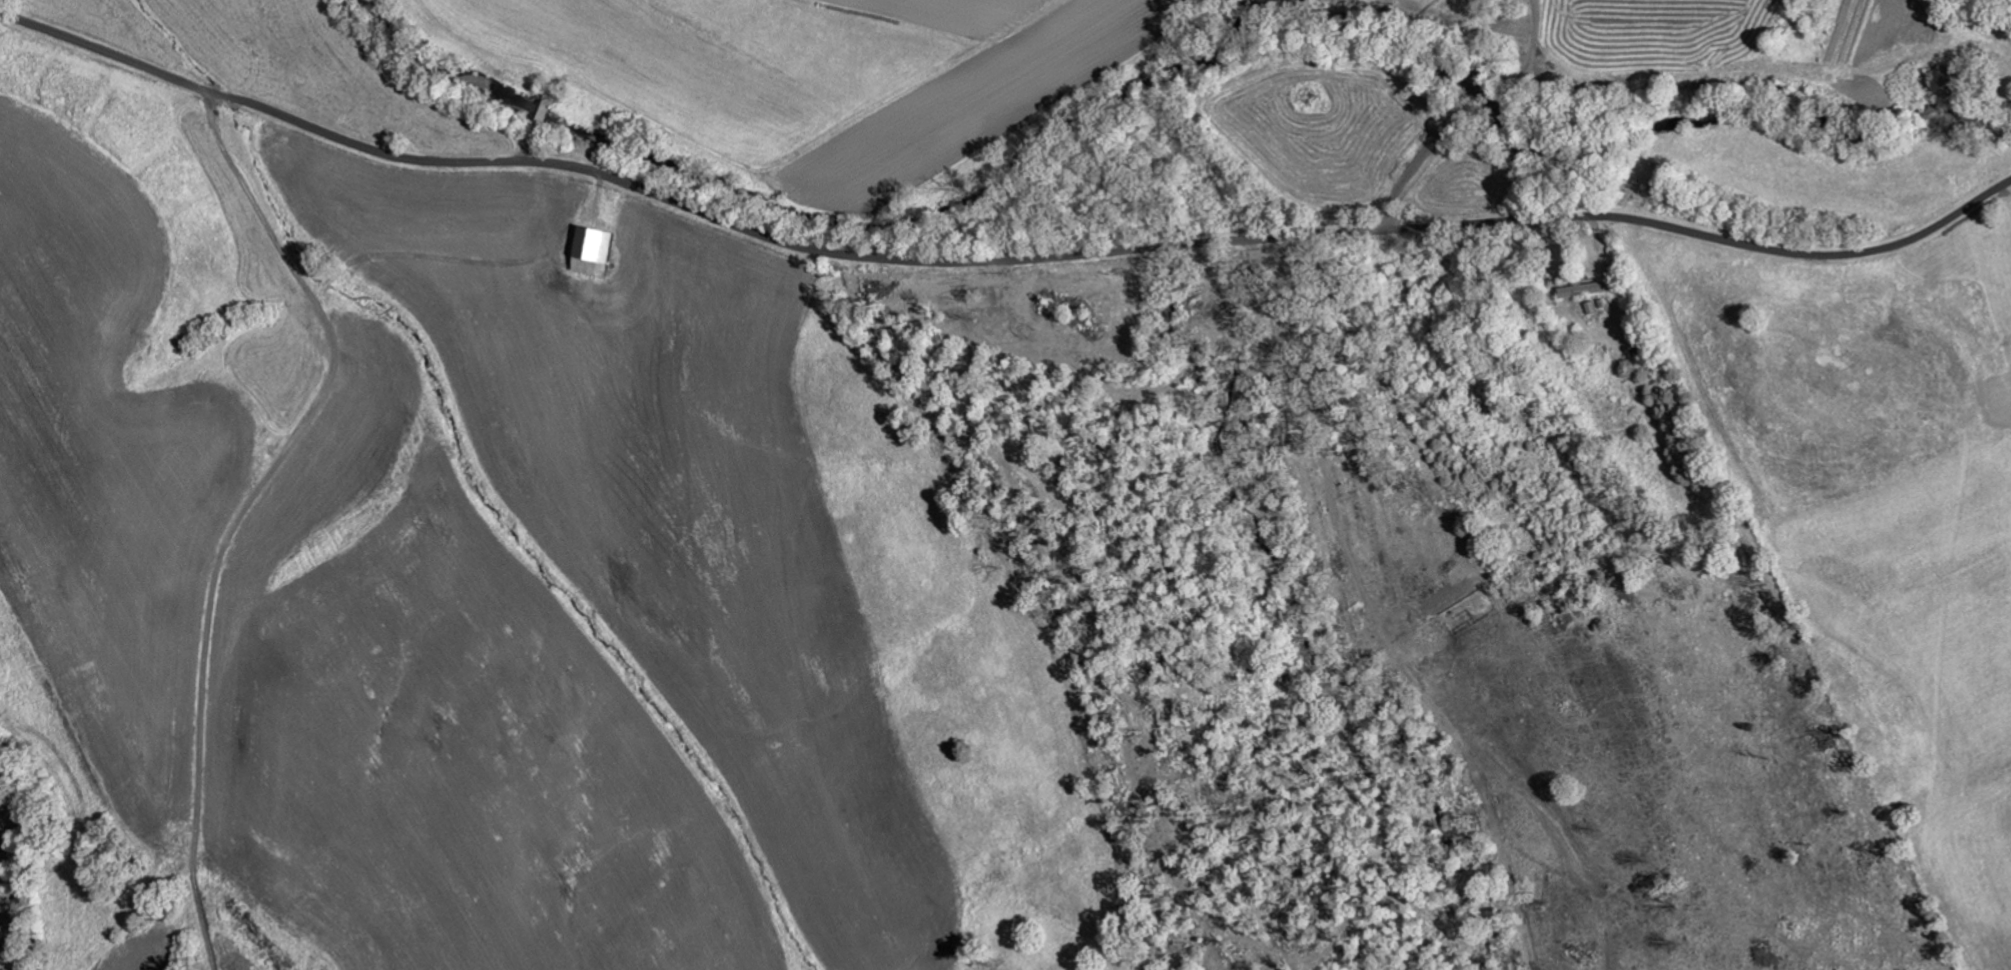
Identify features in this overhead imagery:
road: (594, 114)
building: (599, 250)
road: (997, 261)

